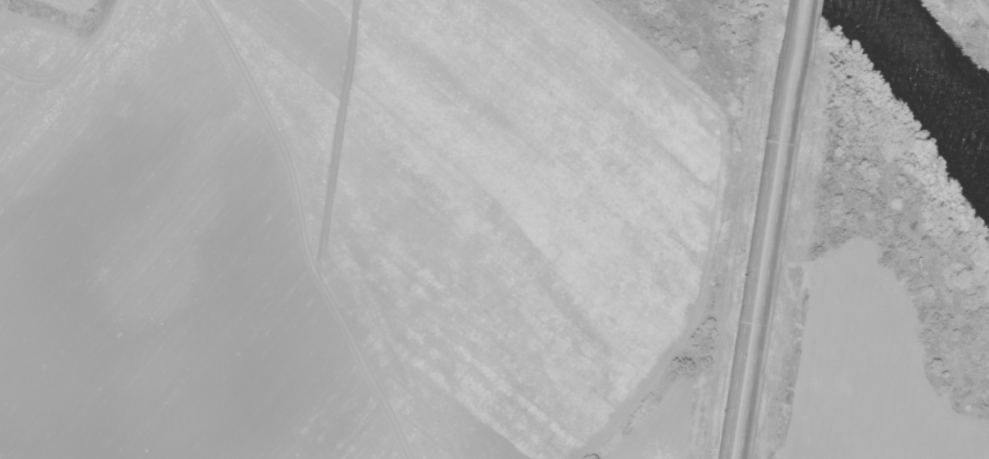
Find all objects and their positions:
road: (798, 17)
river: (926, 82)
road: (763, 246)

